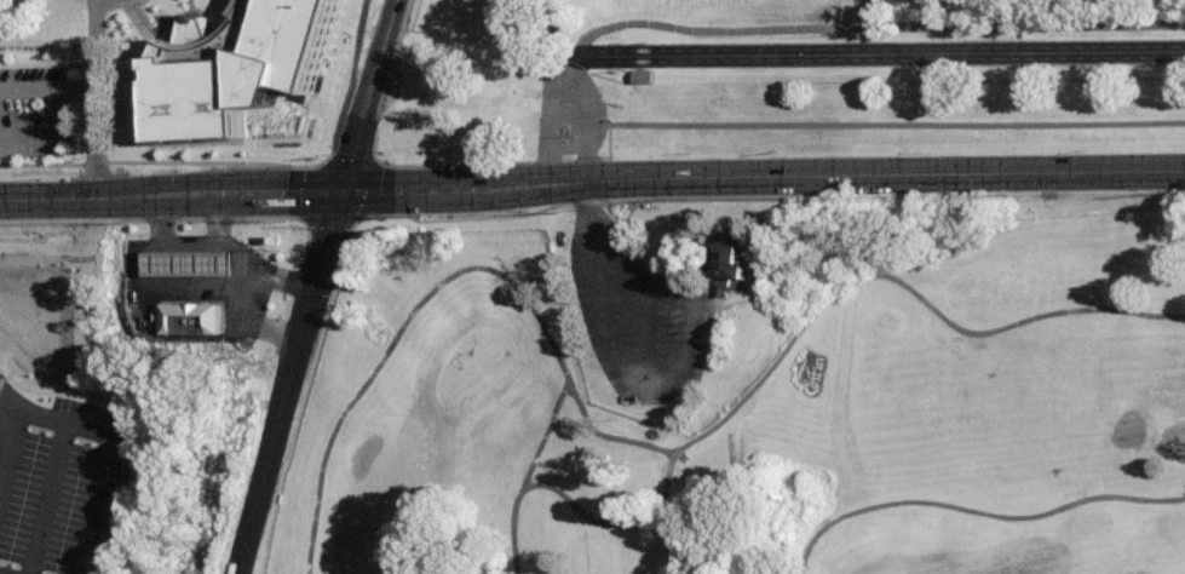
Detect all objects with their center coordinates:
road: (145, 19)
park: (778, 25)
road: (824, 28)
building: (238, 64)
road: (346, 78)
road: (75, 91)
road: (372, 97)
road: (96, 98)
parking lot: (41, 111)
road: (56, 113)
road: (896, 126)
road: (322, 160)
road: (830, 186)
road: (412, 194)
road: (268, 196)
road: (94, 199)
road: (53, 219)
road: (441, 222)
road: (190, 242)
road: (243, 249)
building: (753, 257)
building: (195, 260)
building: (725, 266)
road: (476, 270)
road: (902, 283)
parking lot: (197, 285)
road: (167, 293)
road: (254, 293)
road: (240, 309)
parking lot: (642, 314)
building: (192, 317)
road: (644, 326)
park: (471, 373)
road: (667, 380)
road: (288, 383)
park: (748, 396)
road: (7, 421)
road: (108, 448)
road: (530, 482)
road: (668, 503)
road: (974, 511)
road: (671, 526)
road: (677, 547)
park: (884, 573)

